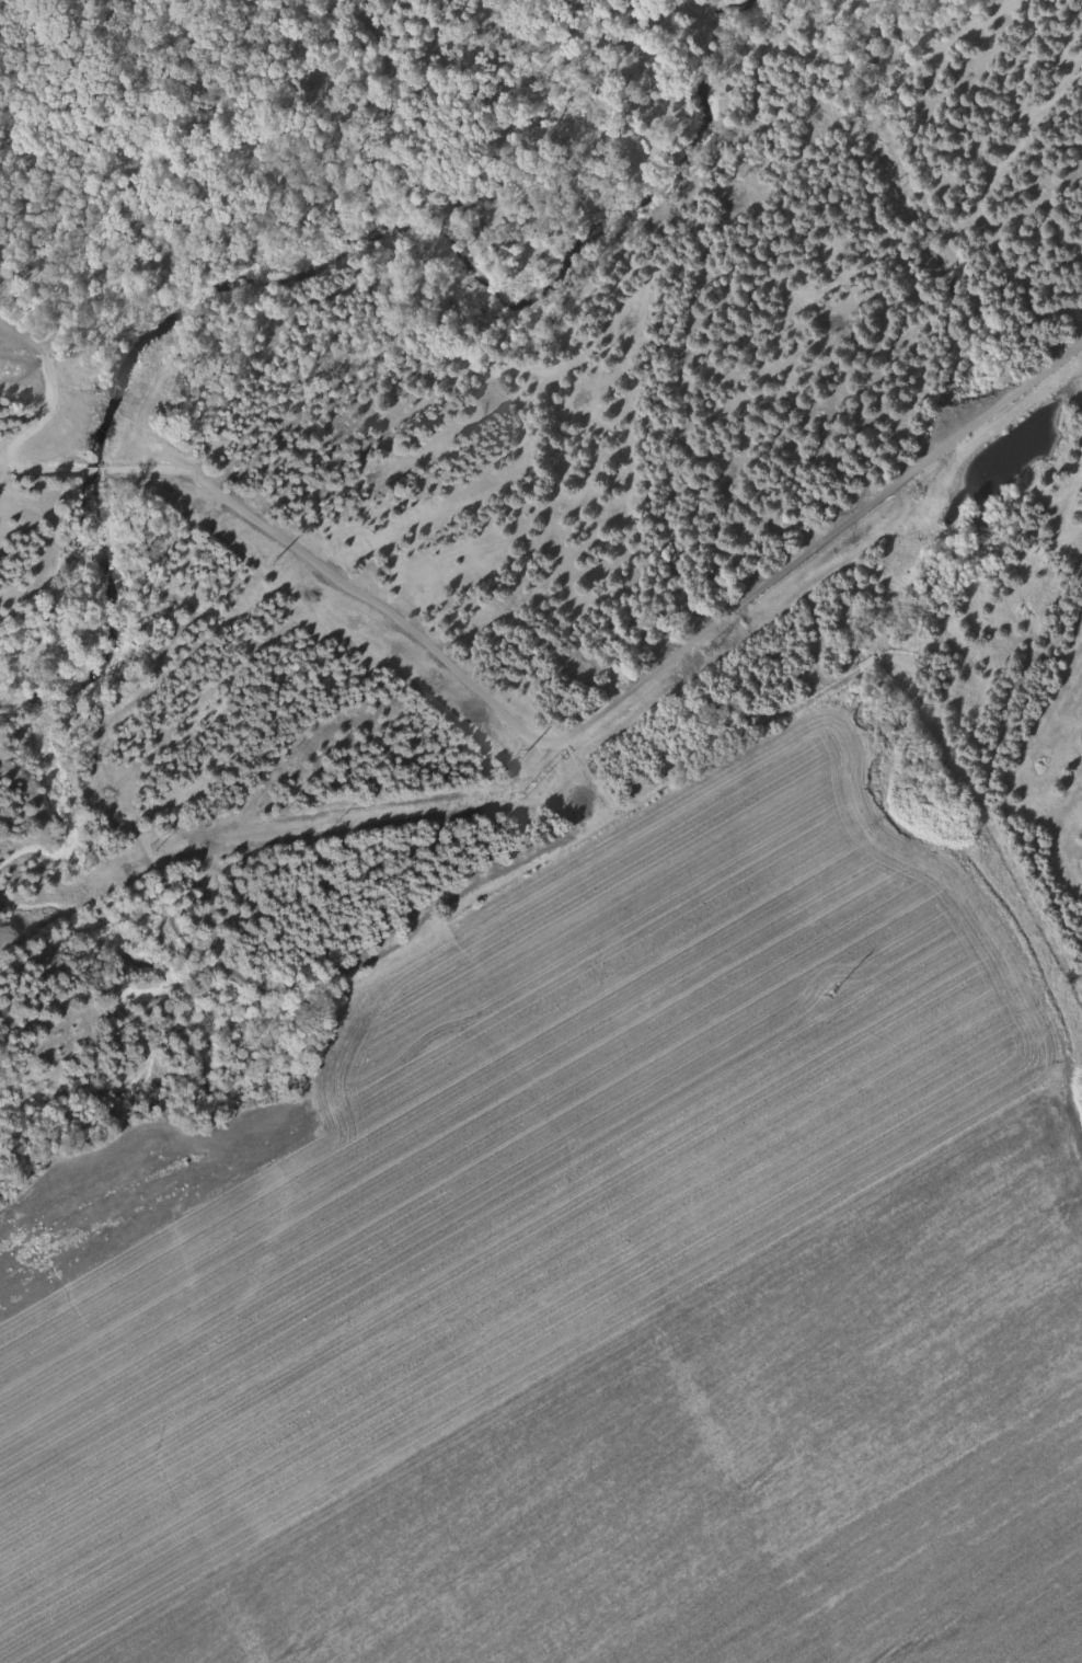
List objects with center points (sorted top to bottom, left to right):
road: (993, 824)

